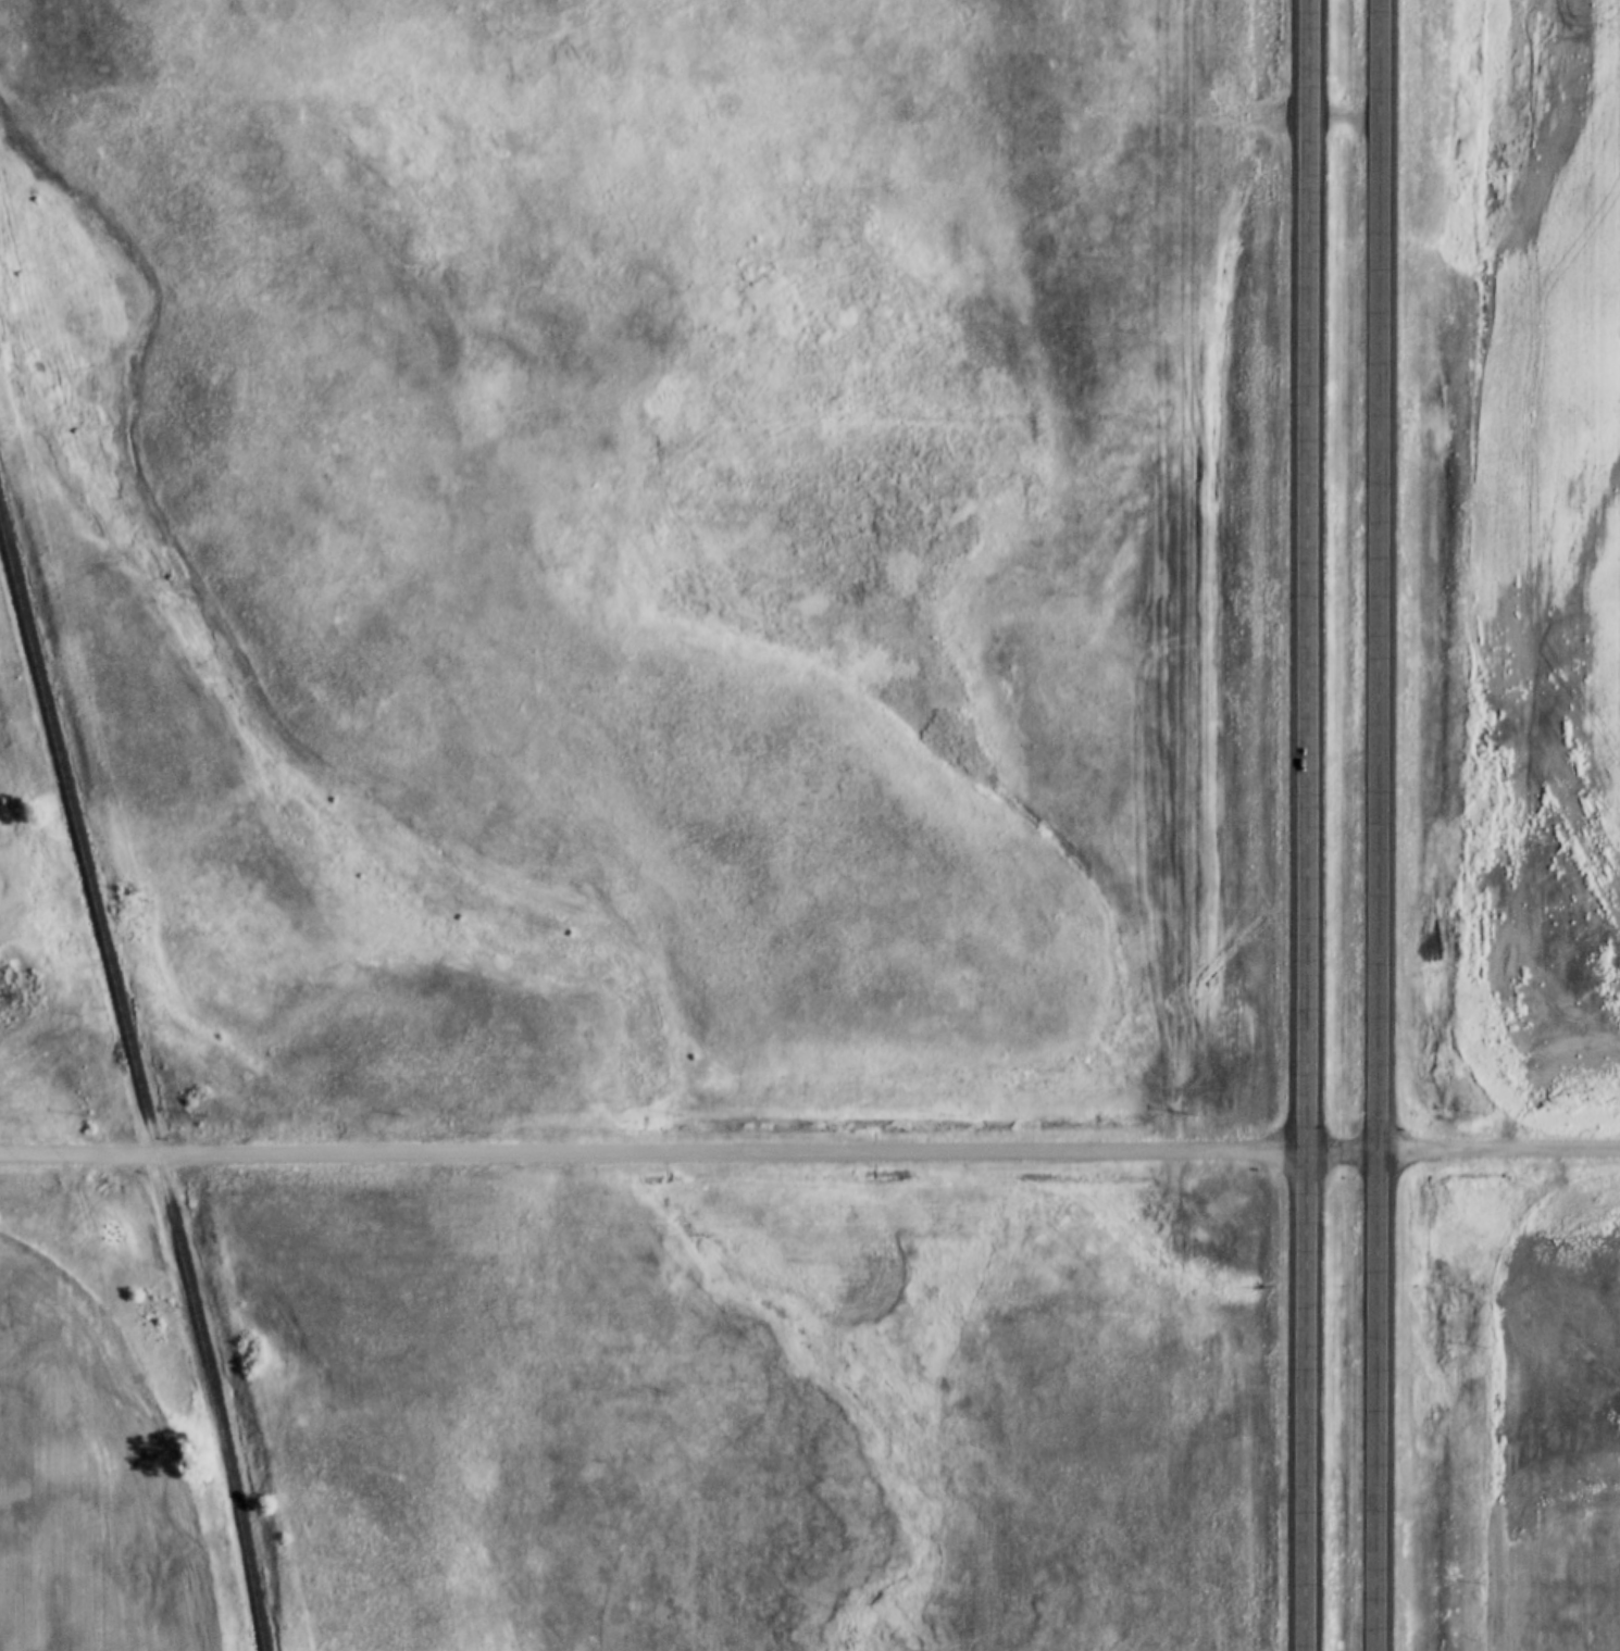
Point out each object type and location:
road: (1308, 825)
road: (1379, 825)
power tower: (2, 989)
railway: (139, 1089)
road: (1498, 1148)
road: (653, 1151)
road: (1343, 1151)

